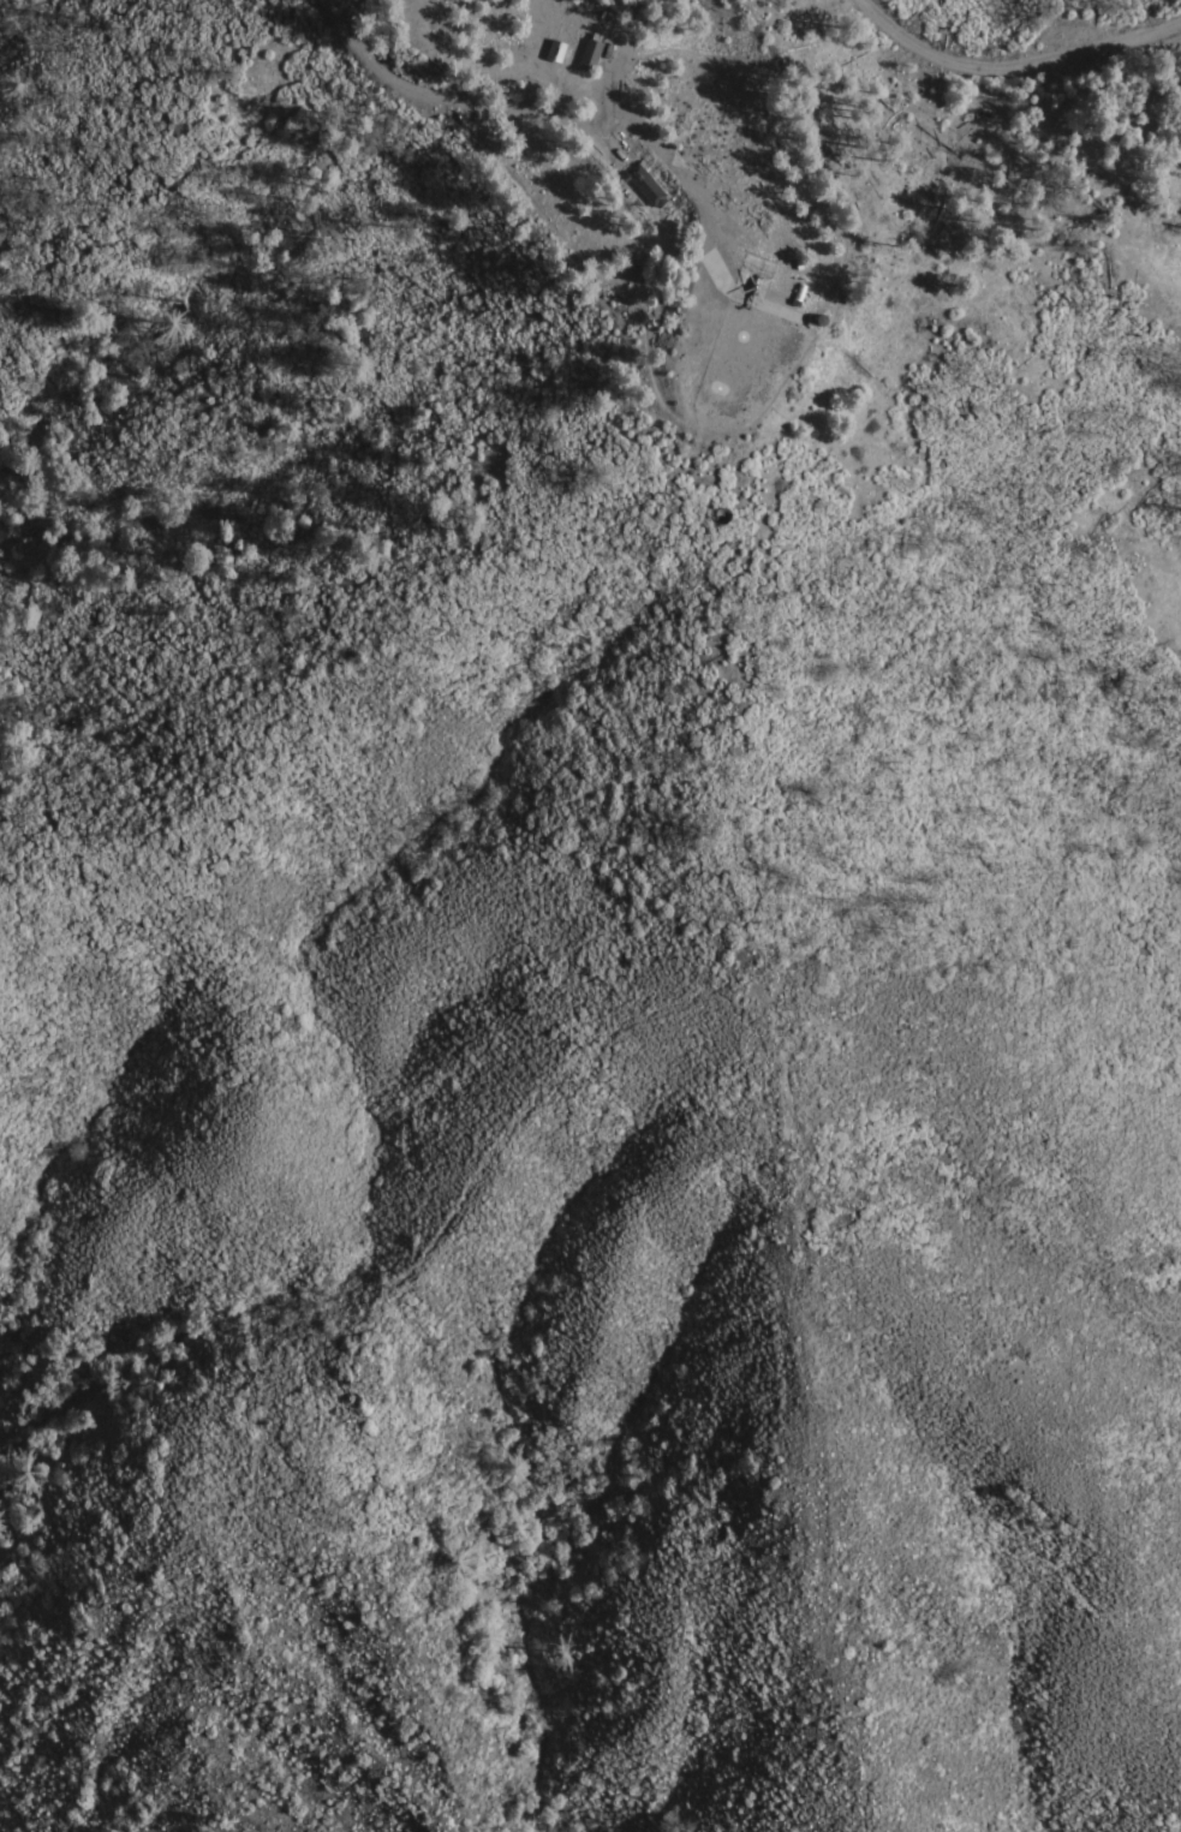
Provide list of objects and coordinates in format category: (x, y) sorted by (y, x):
building: (556, 52)
building: (590, 55)
road: (1012, 67)
road: (544, 117)
building: (645, 184)
airport: (645, 187)
helipad: (769, 285)
building: (799, 293)
building: (821, 322)
storage tank: (821, 322)
building: (723, 518)
storage tank: (723, 518)

